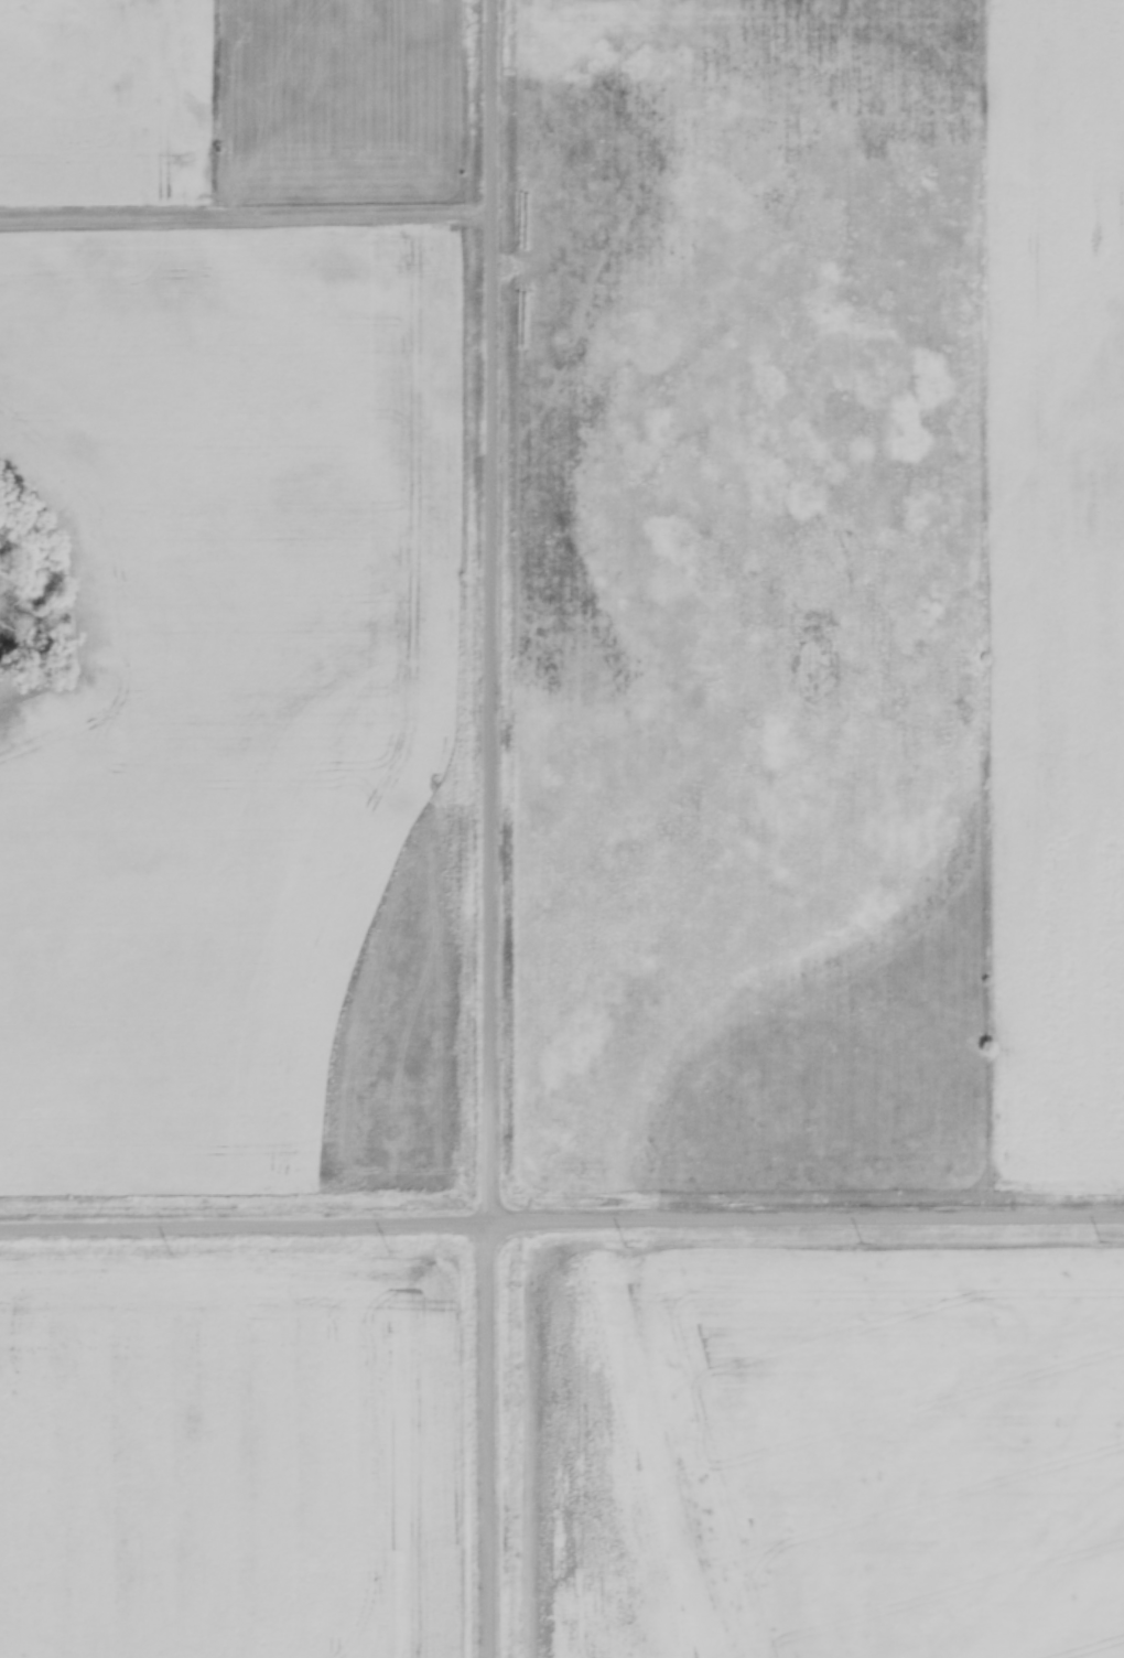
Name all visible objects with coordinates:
road: (487, 828)
road: (561, 1221)

